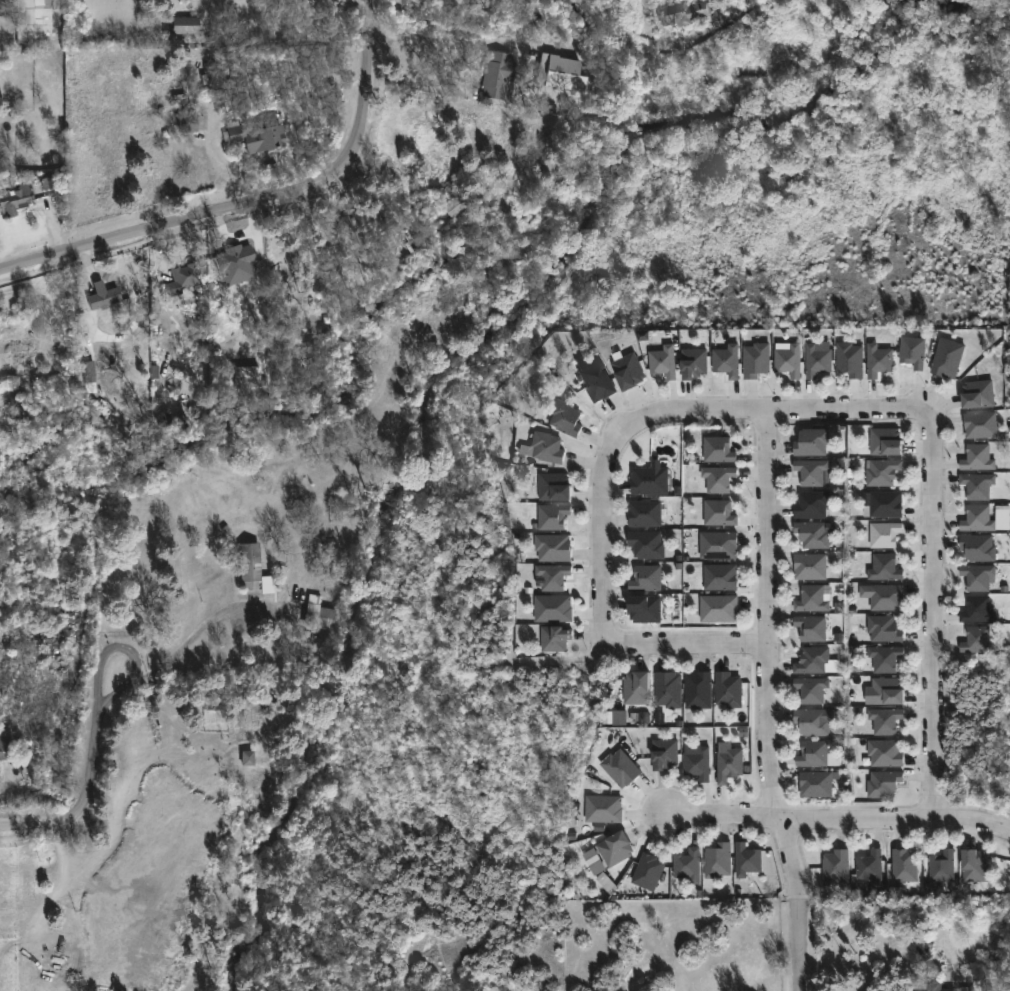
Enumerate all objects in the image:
building: (682, 12)
building: (34, 20)
building: (187, 25)
road: (651, 29)
road: (424, 41)
building: (560, 74)
building: (497, 75)
building: (188, 124)
building: (259, 137)
road: (223, 162)
building: (14, 202)
road: (258, 202)
building: (456, 205)
building: (359, 228)
building: (412, 245)
building: (237, 260)
building: (188, 276)
building: (105, 300)
building: (911, 352)
building: (947, 358)
building: (848, 359)
building: (725, 361)
building: (754, 361)
building: (786, 361)
building: (815, 361)
building: (876, 361)
building: (662, 362)
building: (691, 364)
building: (87, 372)
building: (629, 372)
building: (247, 378)
building: (602, 382)
building: (976, 394)
road: (666, 411)
building: (16, 413)
building: (569, 419)
building: (979, 425)
building: (809, 440)
building: (884, 440)
building: (549, 446)
building: (716, 450)
building: (976, 458)
building: (810, 470)
building: (881, 471)
building: (652, 479)
building: (717, 479)
building: (558, 485)
building: (977, 485)
building: (810, 502)
building: (886, 503)
building: (648, 512)
building: (717, 513)
building: (553, 515)
building: (976, 518)
building: (1003, 518)
building: (811, 533)
building: (882, 533)
building: (339, 538)
building: (649, 543)
building: (719, 544)
building: (556, 546)
building: (977, 547)
building: (808, 564)
building: (883, 566)
building: (256, 570)
building: (556, 575)
building: (721, 575)
building: (977, 576)
building: (650, 577)
building: (882, 595)
building: (810, 597)
building: (554, 607)
building: (719, 607)
building: (649, 608)
building: (977, 609)
road: (767, 613)
building: (321, 614)
road: (934, 614)
building: (809, 626)
building: (881, 627)
building: (555, 637)
building: (977, 639)
road: (683, 644)
building: (884, 657)
building: (811, 659)
building: (642, 686)
building: (810, 688)
building: (673, 689)
building: (702, 689)
building: (733, 689)
building: (887, 690)
building: (810, 720)
building: (886, 720)
road: (101, 722)
building: (5, 743)
building: (811, 752)
building: (885, 752)
building: (668, 753)
building: (247, 758)
building: (697, 761)
building: (730, 763)
building: (624, 767)
building: (813, 783)
building: (885, 783)
building: (606, 809)
road: (835, 815)
building: (621, 847)
building: (747, 859)
building: (720, 860)
building: (594, 861)
building: (691, 864)
building: (903, 864)
building: (973, 864)
building: (941, 865)
building: (868, 866)
building: (834, 867)
building: (651, 871)
road: (793, 901)
road: (861, 966)
building: (55, 967)
building: (932, 989)

